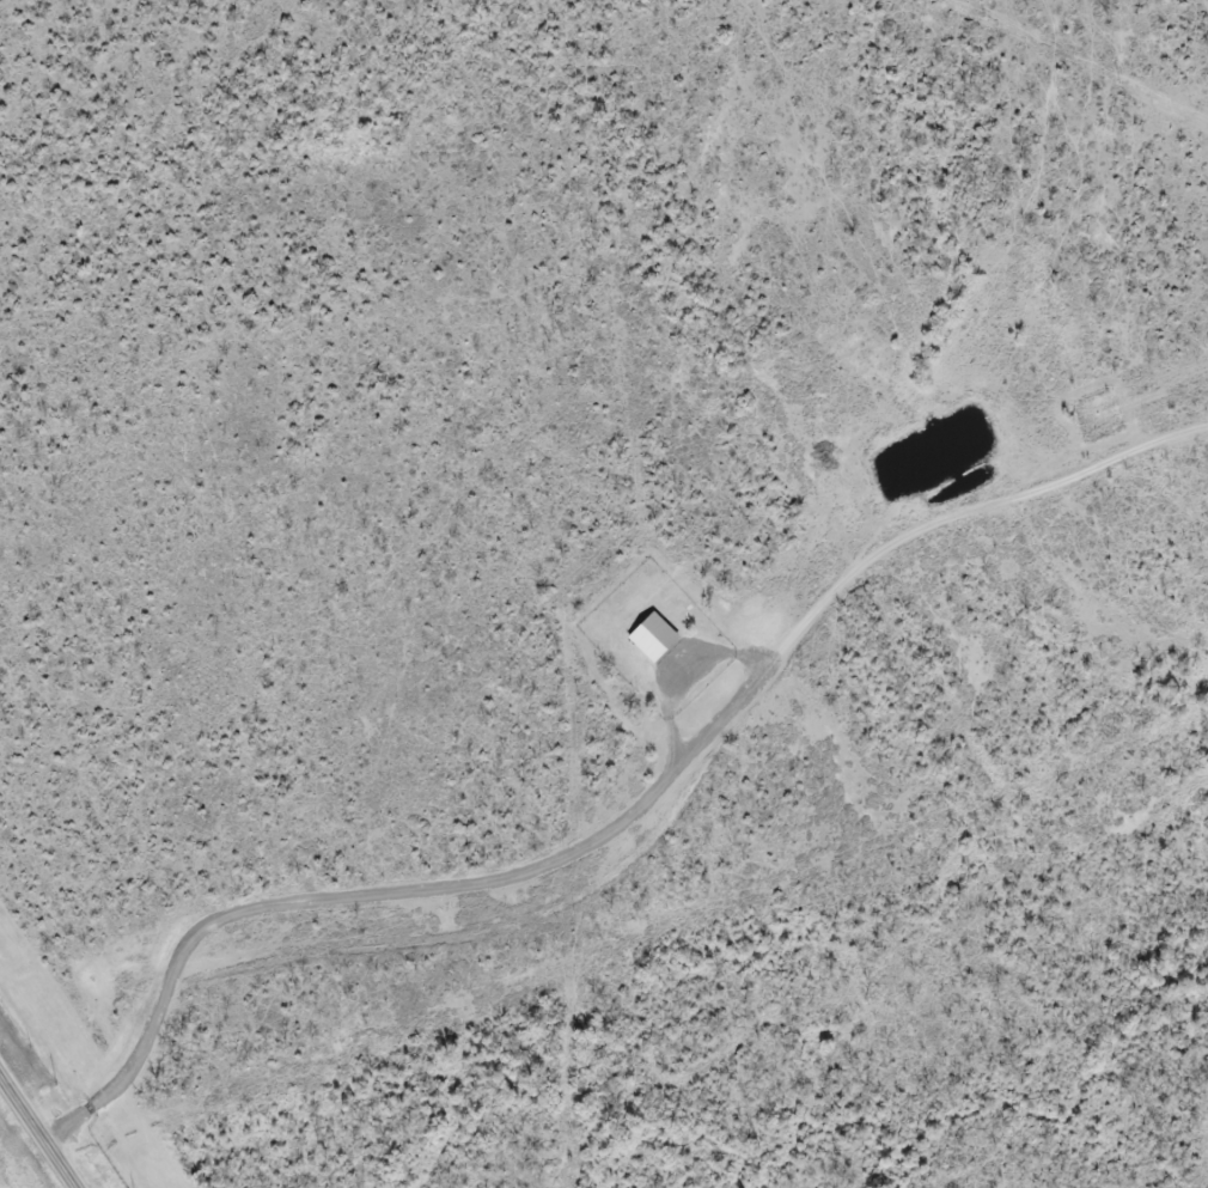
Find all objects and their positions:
building: (643, 636)
road: (654, 840)
road: (39, 1127)

